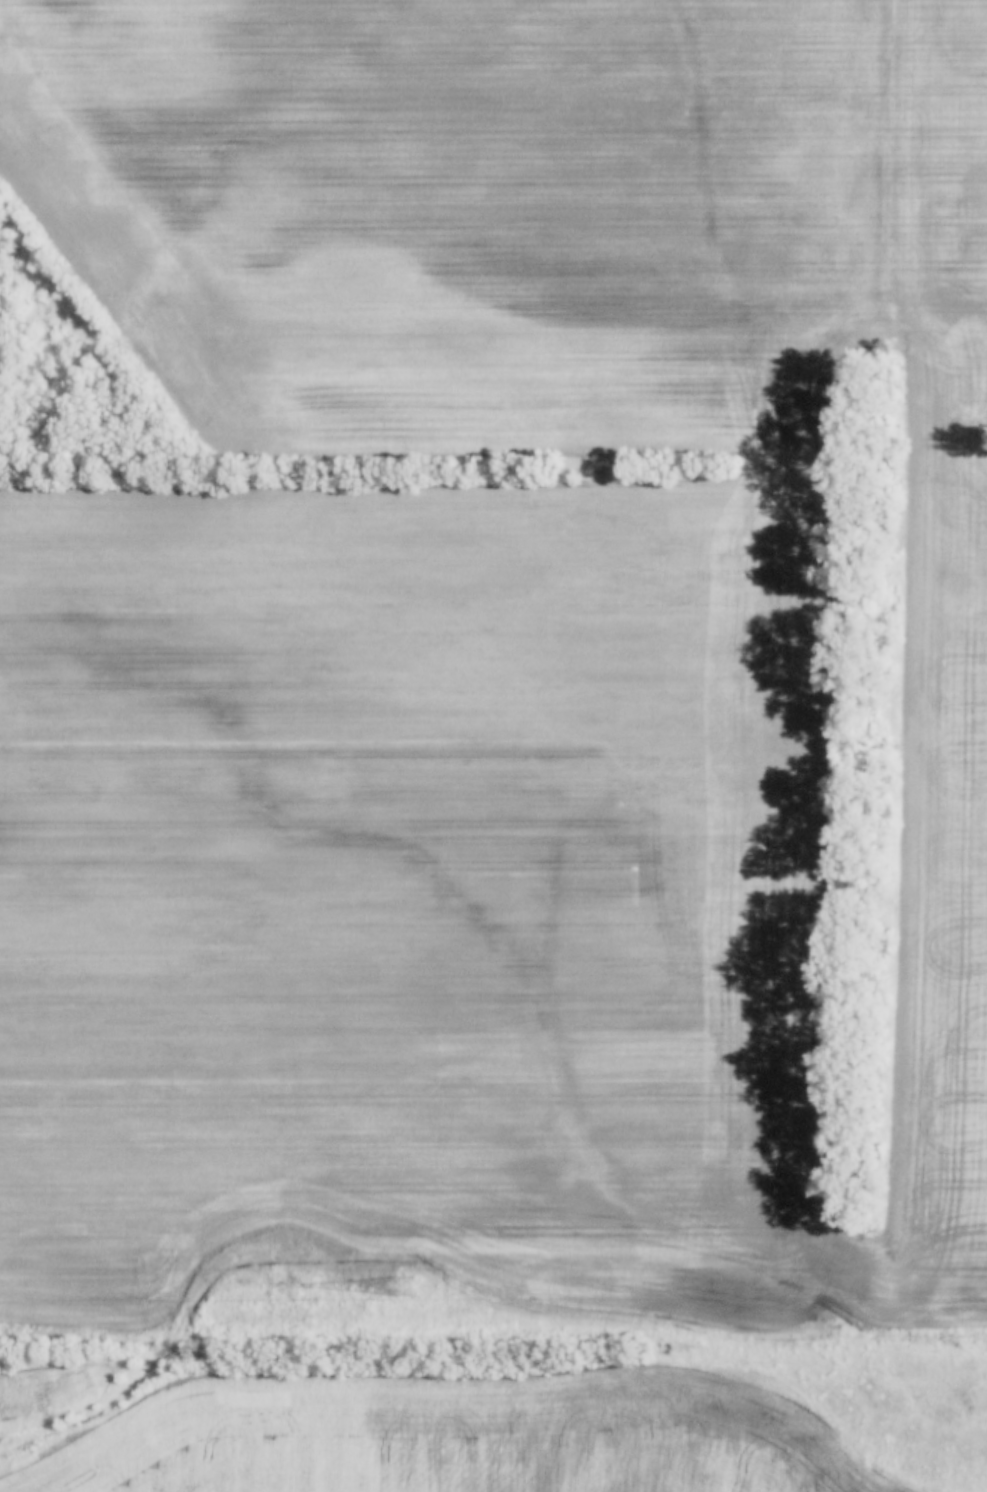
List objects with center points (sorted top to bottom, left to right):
power tower: (411, 1292)

